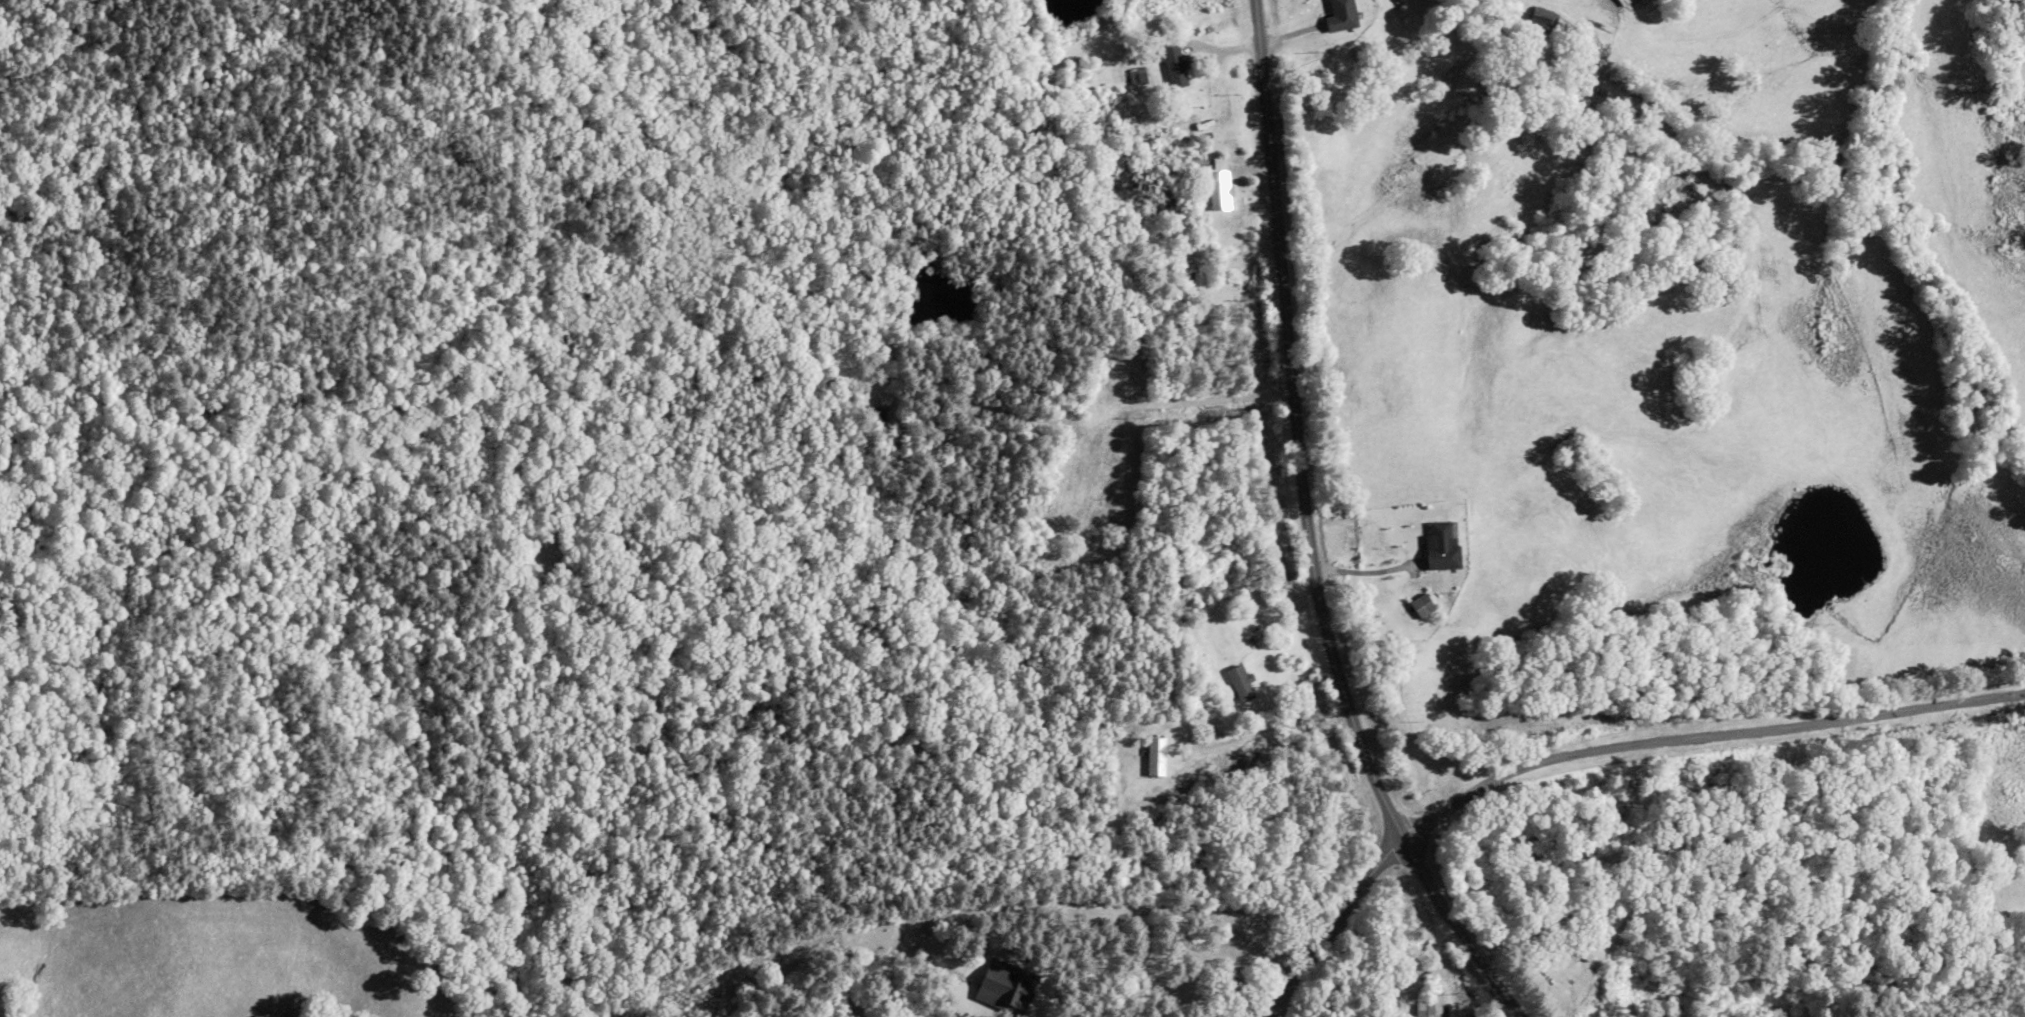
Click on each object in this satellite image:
building: (1625, 2)
building: (1343, 15)
building: (1175, 64)
building: (1137, 75)
building: (1199, 161)
building: (1220, 190)
building: (1198, 267)
road: (1178, 400)
road: (1313, 531)
building: (1443, 545)
road: (1365, 569)
building: (1423, 604)
road: (1286, 609)
building: (1241, 683)
road: (1274, 729)
road: (1701, 738)
building: (1157, 755)
road: (1096, 909)
road: (1329, 926)
building: (1583, 944)
road: (1438, 965)
building: (1431, 1006)
road: (1507, 1010)

